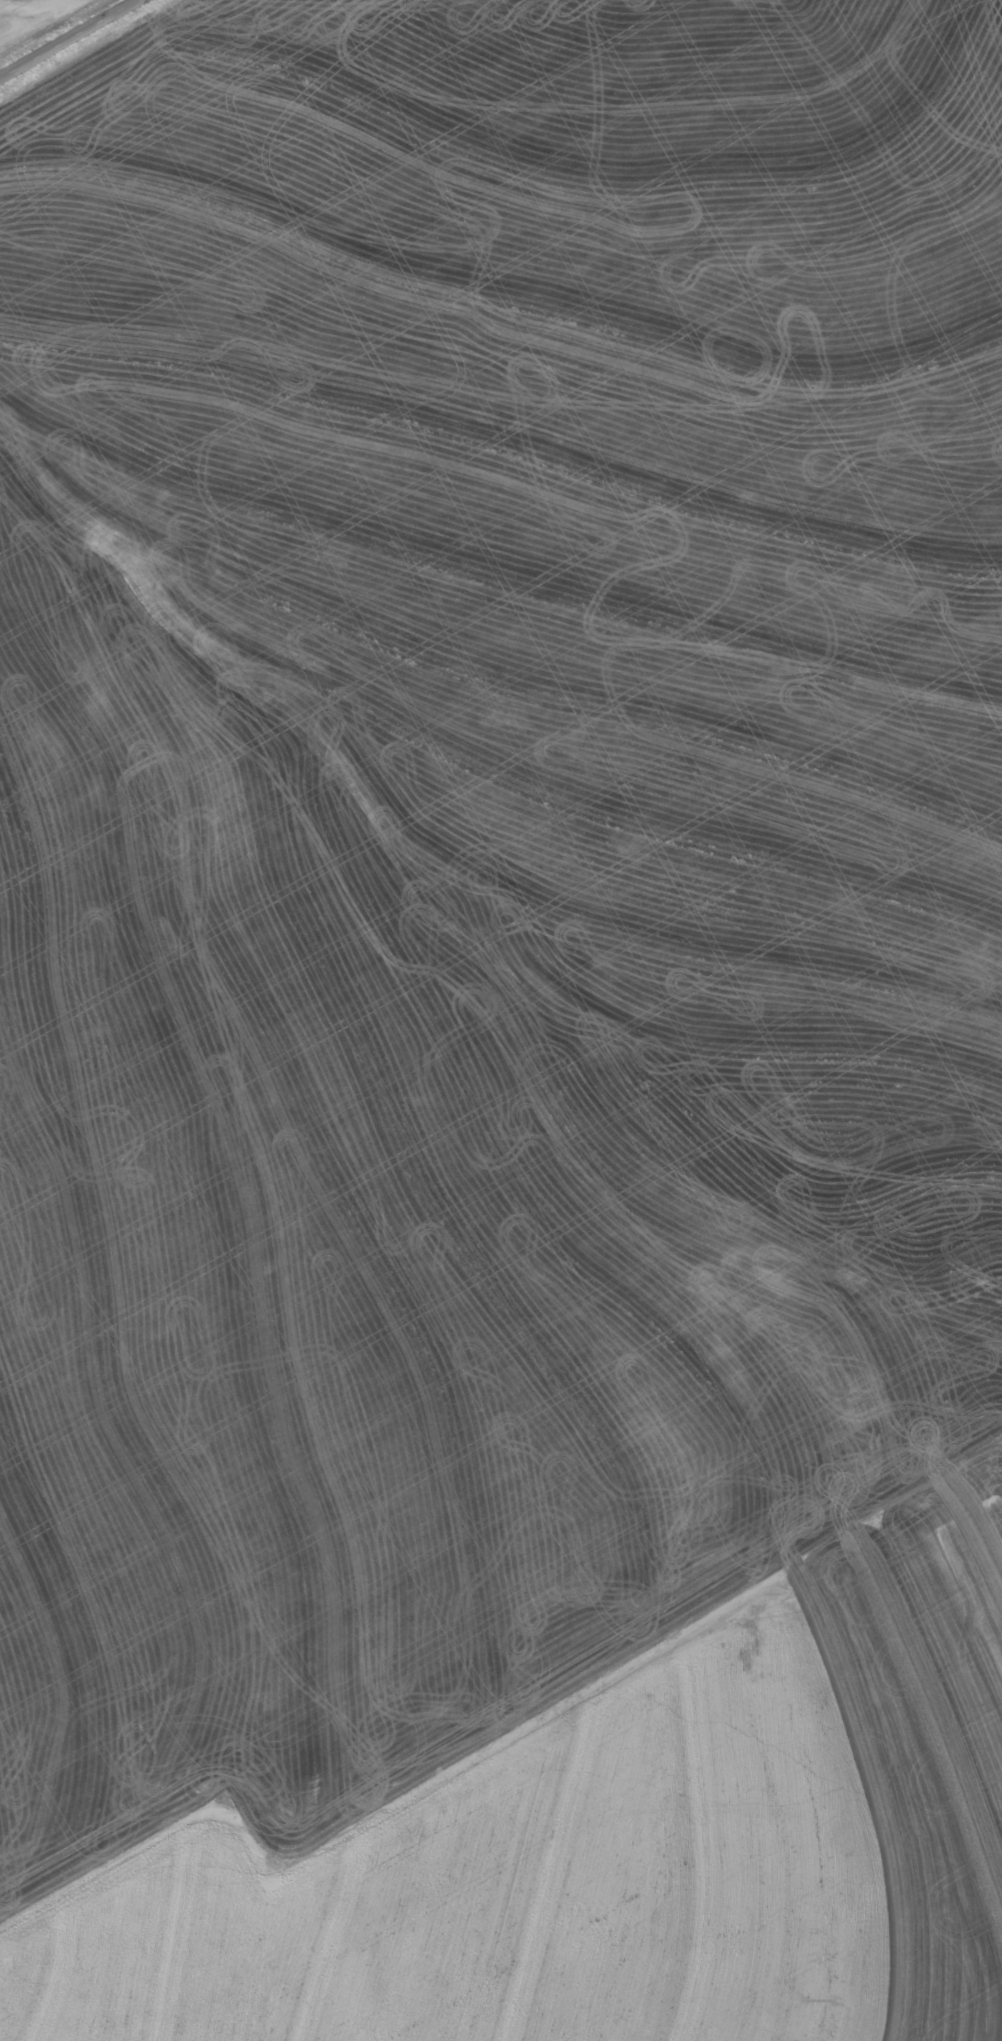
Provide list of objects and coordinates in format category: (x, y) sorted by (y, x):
road: (67, 38)

